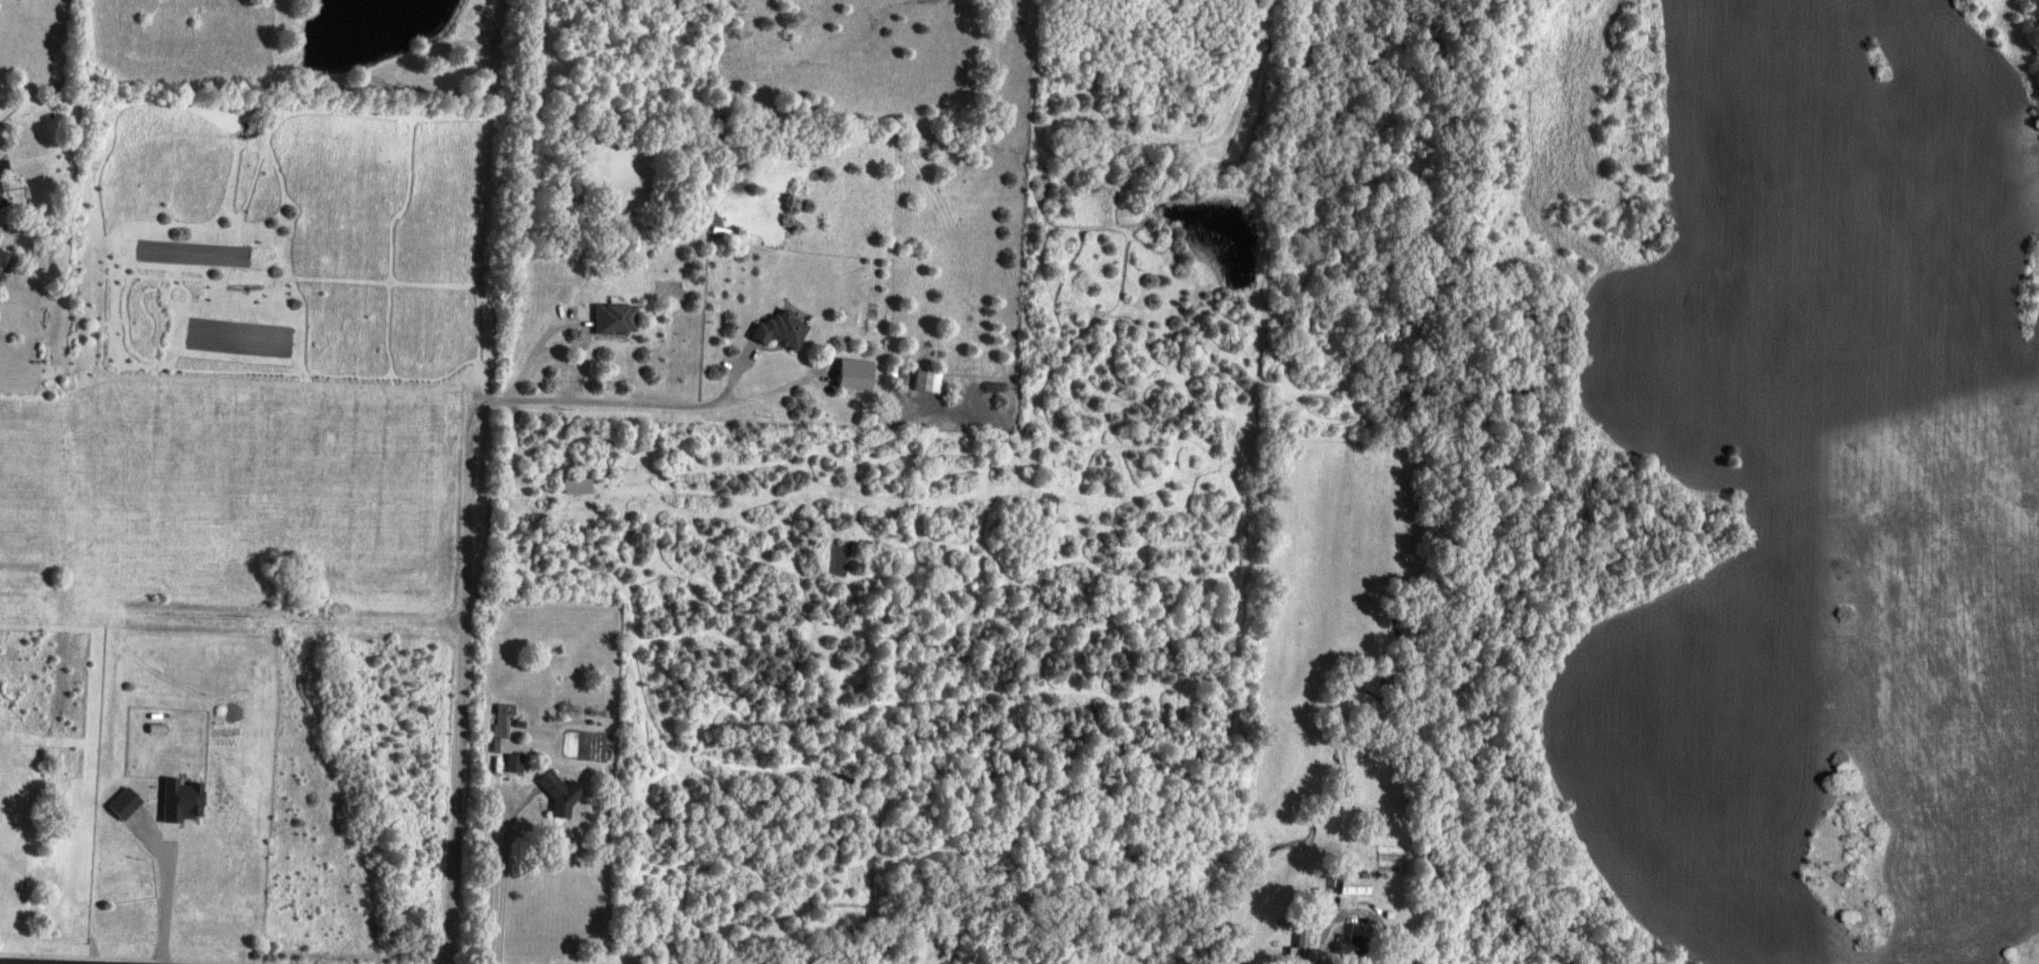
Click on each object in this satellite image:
building: (0, 201)
building: (2, 256)
road: (463, 562)
building: (502, 724)
building: (514, 762)
building: (561, 793)
building: (1356, 885)
building: (1302, 941)
building: (1352, 945)
road: (0, 963)

